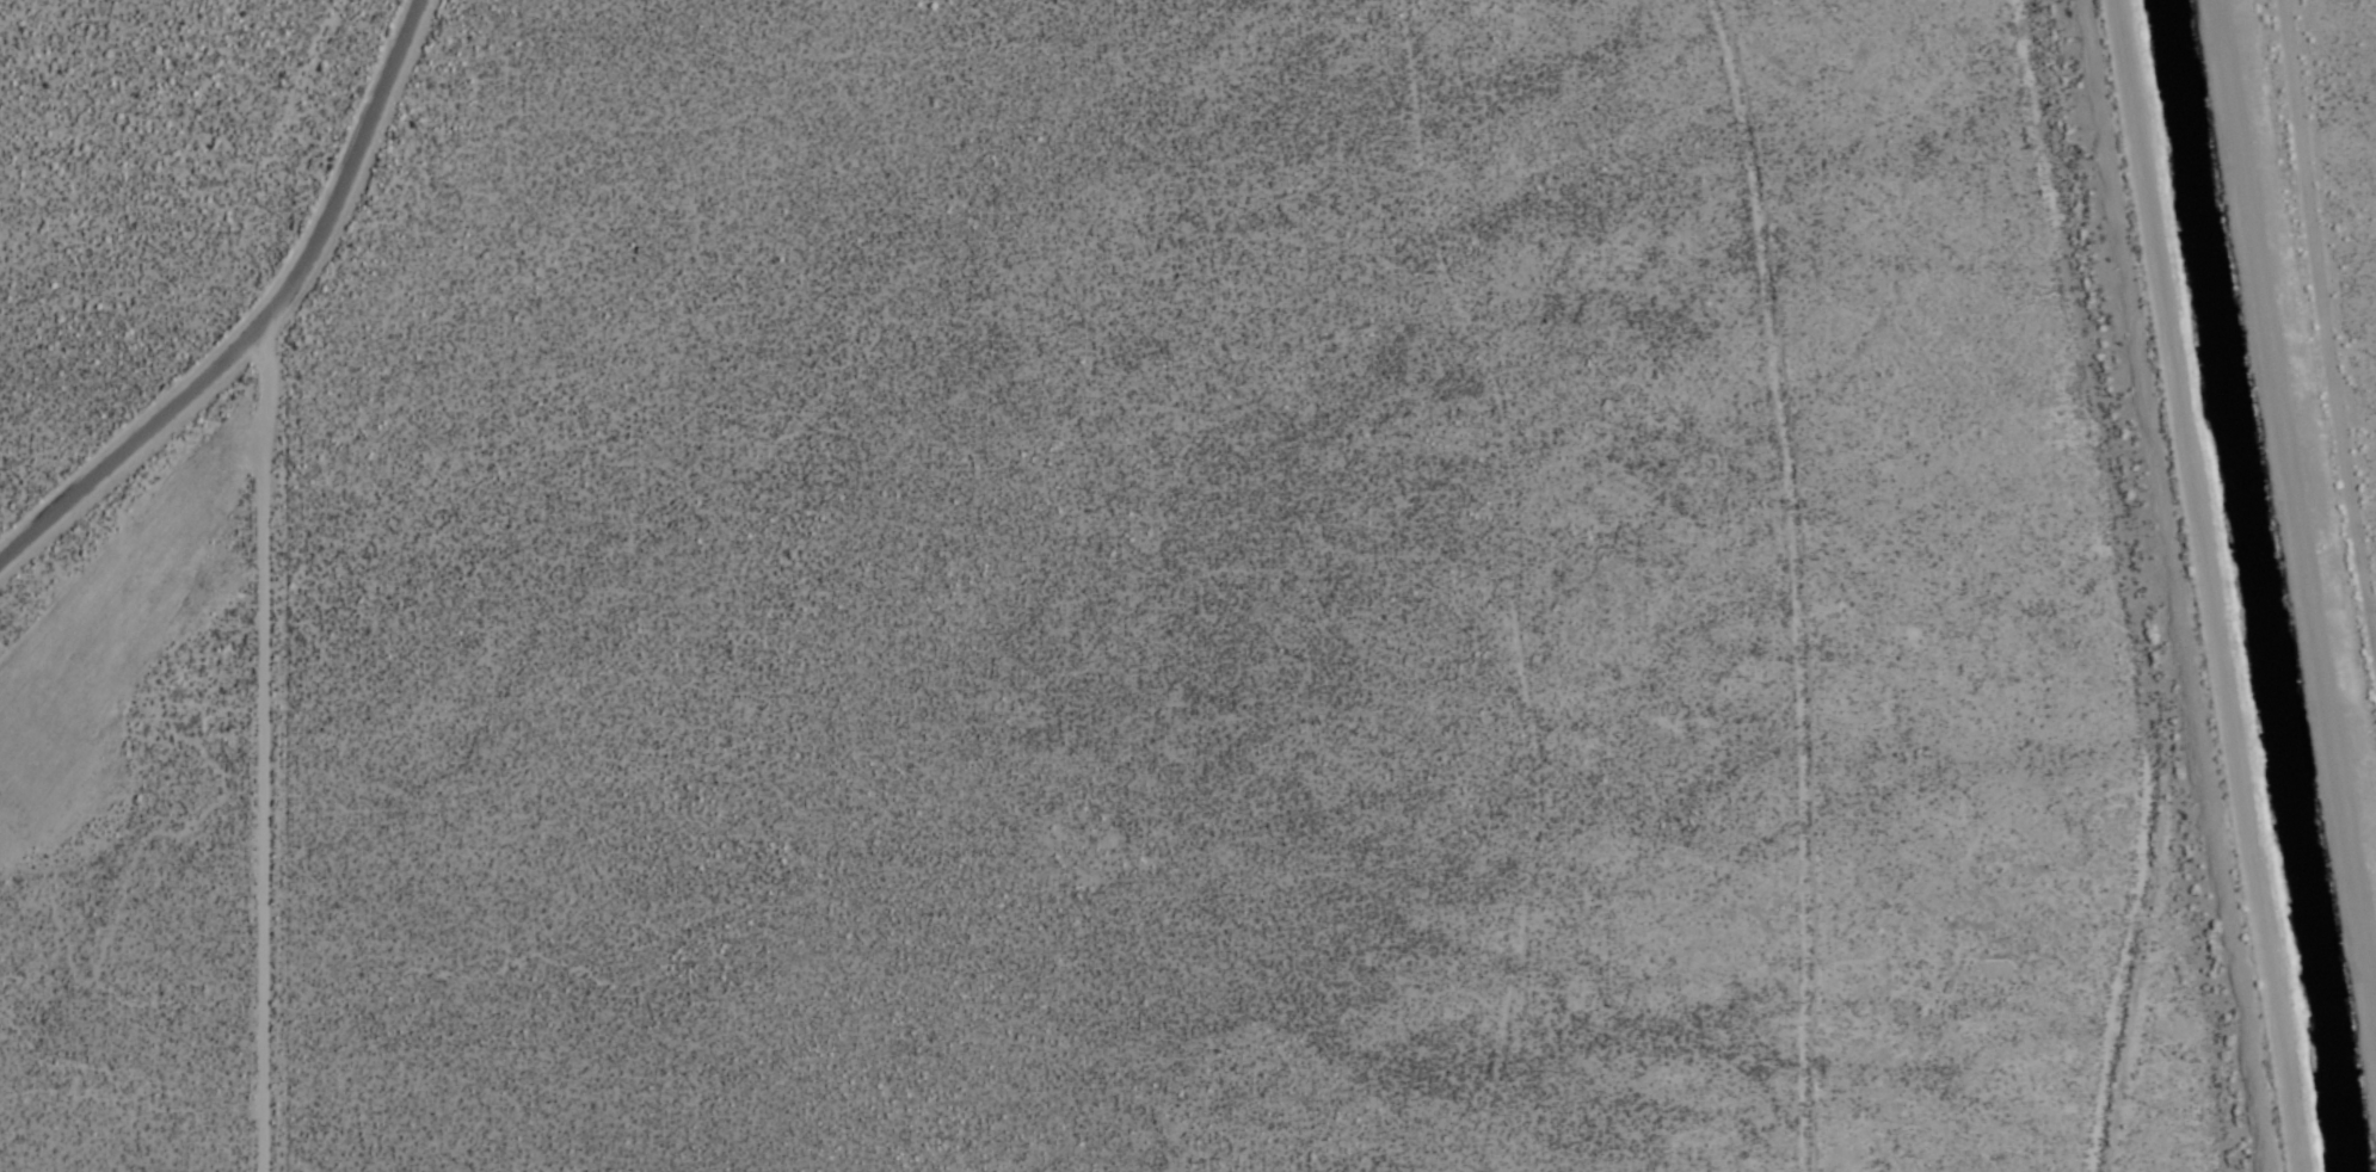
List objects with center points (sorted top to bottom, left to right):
road: (265, 320)
road: (2326, 332)
road: (2298, 482)
road: (2214, 585)
road: (273, 740)

